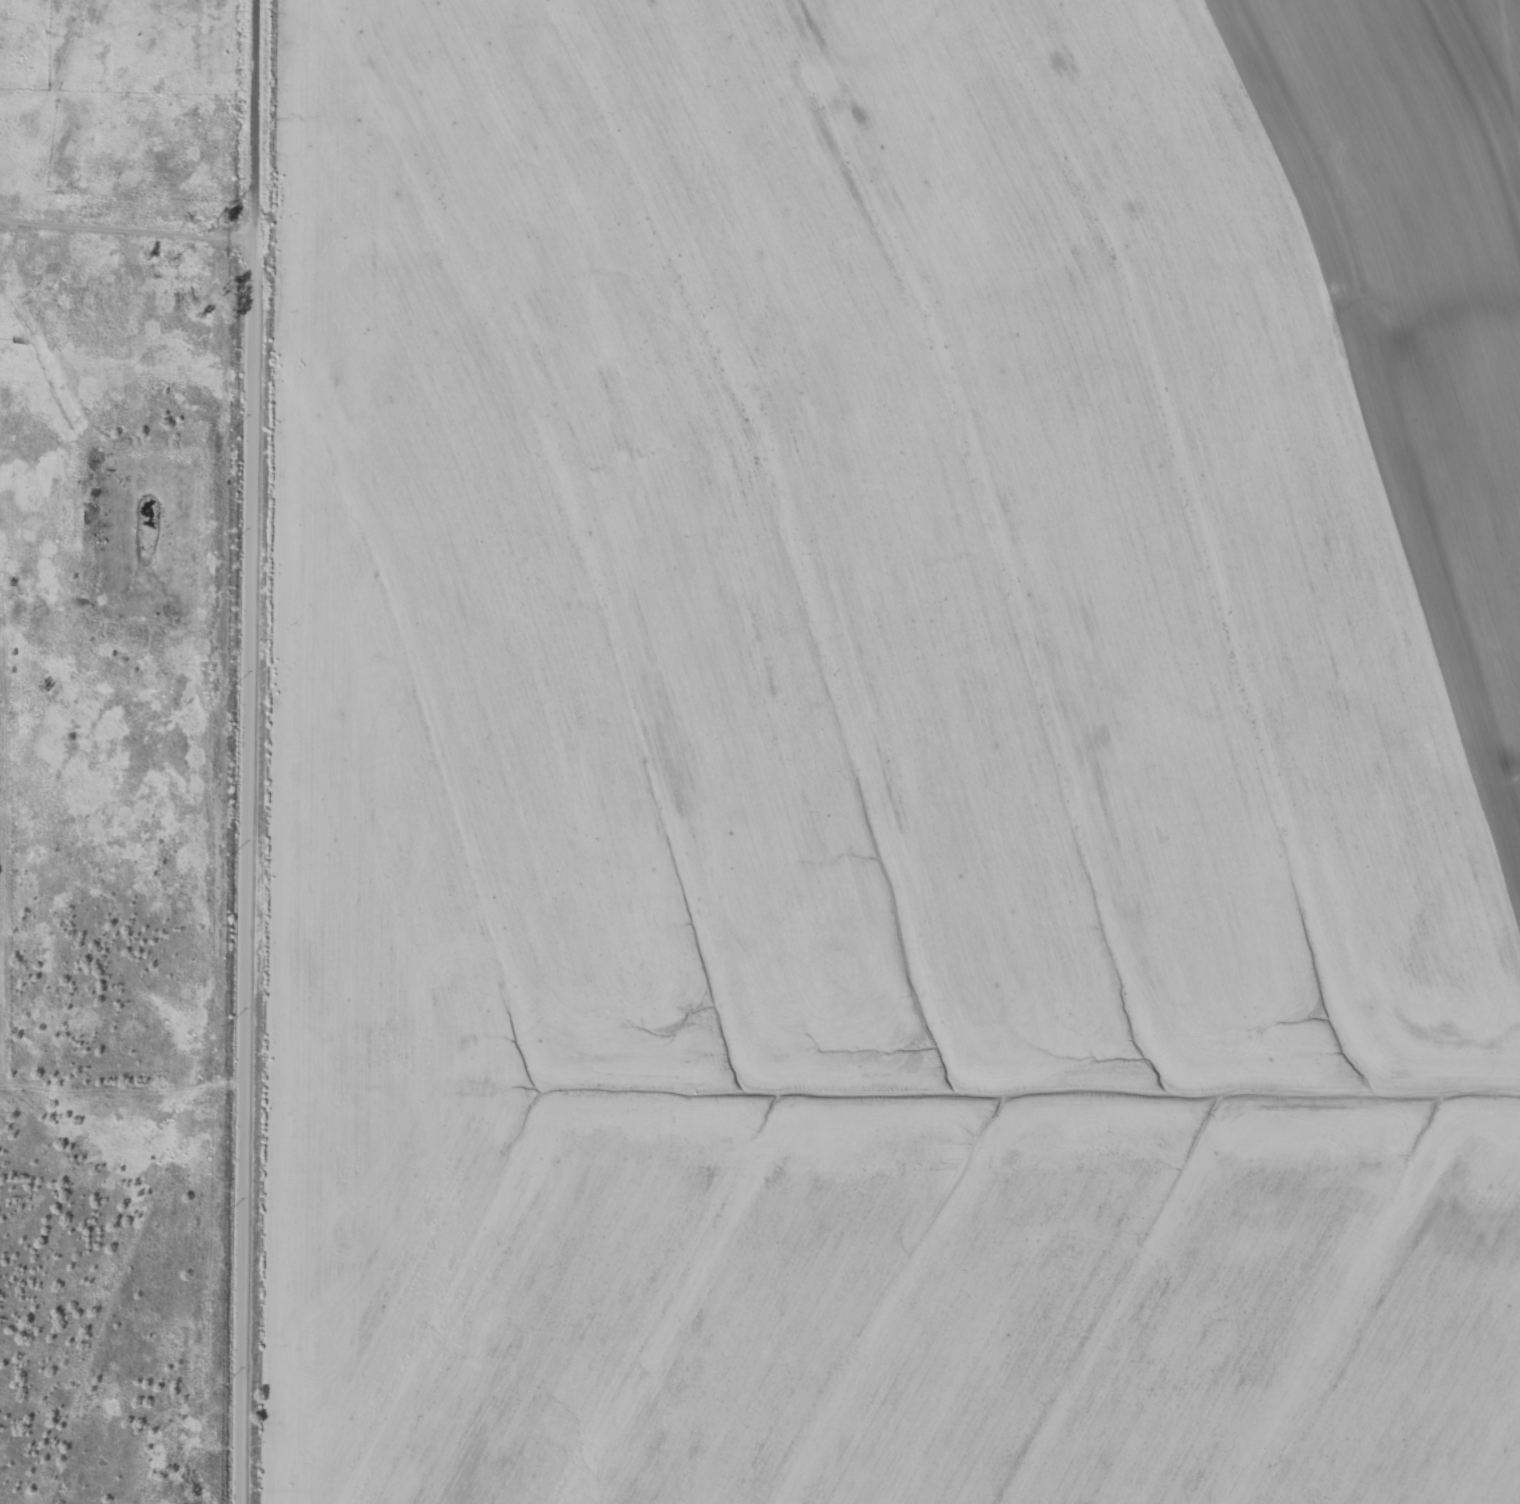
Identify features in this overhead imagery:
road: (252, 751)
road: (124, 1116)

